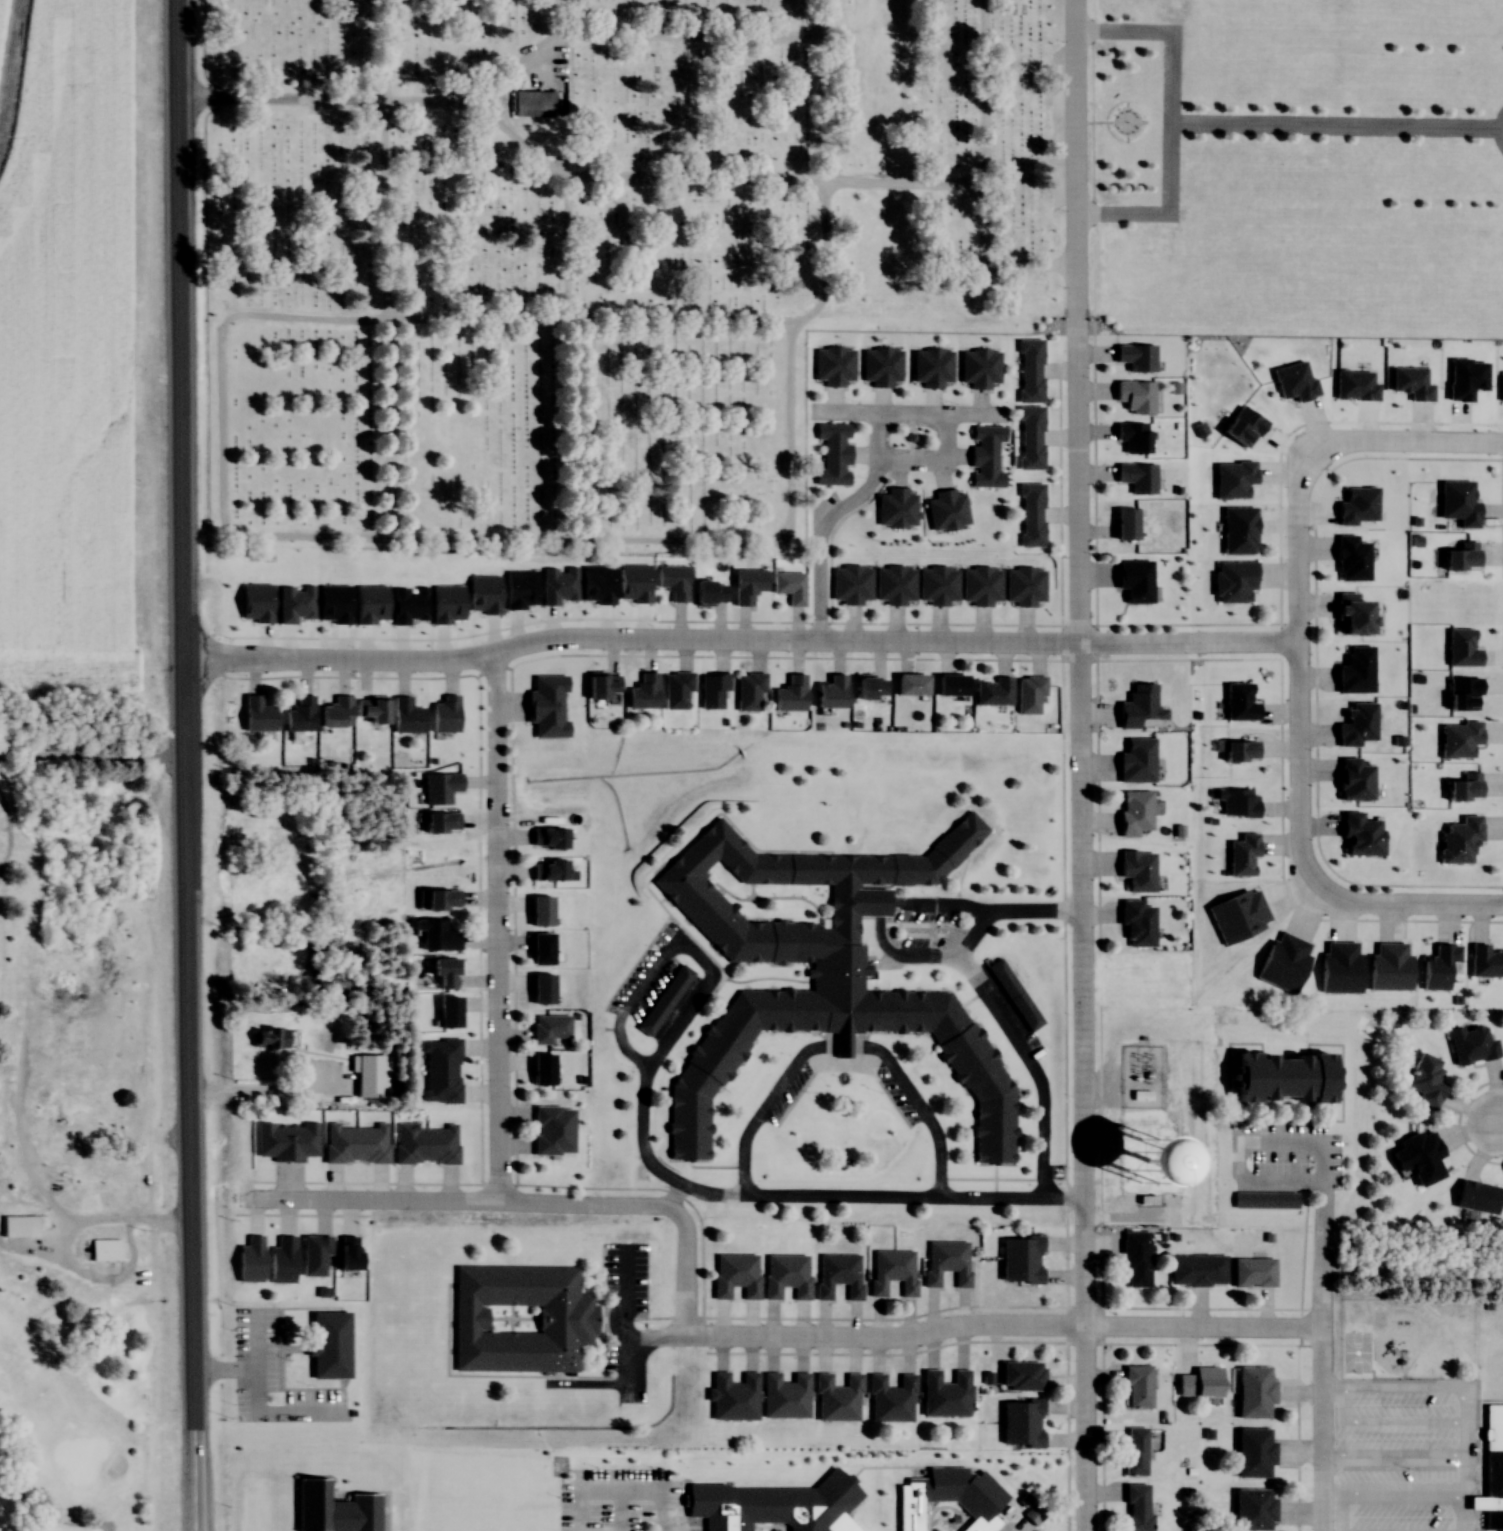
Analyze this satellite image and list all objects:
road: (562, 19)
road: (282, 101)
building: (544, 107)
road: (823, 117)
road: (542, 162)
road: (827, 267)
park: (631, 271)
road: (1028, 290)
road: (388, 318)
road: (306, 321)
building: (1137, 356)
building: (1030, 369)
building: (1175, 387)
building: (1136, 395)
road: (392, 425)
building: (1132, 435)
building: (1030, 436)
road: (1398, 448)
building: (1137, 475)
road: (229, 512)
building: (1031, 513)
building: (1125, 523)
road: (396, 535)
road: (722, 544)
building: (674, 581)
building: (1135, 581)
building: (981, 584)
building: (747, 585)
building: (852, 585)
building: (895, 585)
building: (938, 585)
building: (791, 587)
building: (1024, 587)
building: (708, 592)
road: (736, 638)
road: (1295, 679)
building: (910, 684)
building: (600, 686)
building: (948, 686)
building: (545, 688)
building: (710, 688)
building: (869, 688)
building: (675, 690)
building: (750, 692)
building: (643, 693)
building: (831, 693)
building: (991, 693)
building: (791, 694)
building: (1029, 695)
building: (1136, 704)
building: (371, 710)
building: (335, 714)
building: (445, 714)
building: (256, 715)
building: (300, 715)
building: (405, 716)
road: (91, 759)
building: (1136, 760)
road: (182, 765)
road: (1078, 765)
building: (439, 788)
building: (1134, 813)
road: (9, 829)
building: (1178, 830)
road: (1410, 900)
building: (539, 909)
building: (1136, 921)
road: (494, 926)
building: (434, 934)
building: (540, 947)
building: (1485, 962)
building: (816, 966)
building: (1439, 967)
building: (443, 970)
building: (541, 987)
building: (664, 1000)
building: (446, 1010)
building: (549, 1027)
building: (268, 1037)
building: (1471, 1044)
building: (541, 1068)
building: (441, 1071)
building: (1280, 1076)
building: (1425, 1079)
road: (252, 1093)
road: (1500, 1121)
building: (552, 1128)
building: (424, 1142)
building: (355, 1143)
park: (72, 1154)
building: (1136, 1157)
building: (1424, 1159)
water tower: (1150, 1163)
road: (816, 1196)
building: (1477, 1196)
road: (459, 1201)
building: (18, 1226)
building: (104, 1249)
building: (1135, 1258)
building: (1020, 1259)
building: (946, 1261)
building: (1197, 1269)
road: (683, 1270)
building: (892, 1270)
building: (1252, 1272)
building: (838, 1274)
building: (735, 1275)
building: (786, 1275)
building: (519, 1318)
road: (1003, 1327)
road: (1323, 1341)
building: (328, 1344)
building: (1021, 1375)
building: (1200, 1383)
building: (1137, 1386)
building: (1254, 1392)
building: (945, 1393)
building: (784, 1396)
building: (733, 1397)
building: (837, 1398)
building: (891, 1398)
building: (1021, 1423)
building: (1134, 1451)
building: (1254, 1452)
building: (1491, 1470)
building: (912, 1505)
building: (1137, 1507)
building: (332, 1509)
building: (1253, 1509)
building: (1033, 1514)
road: (61, 1521)
building: (835, 1521)
building: (979, 1523)
building: (521, 1529)

